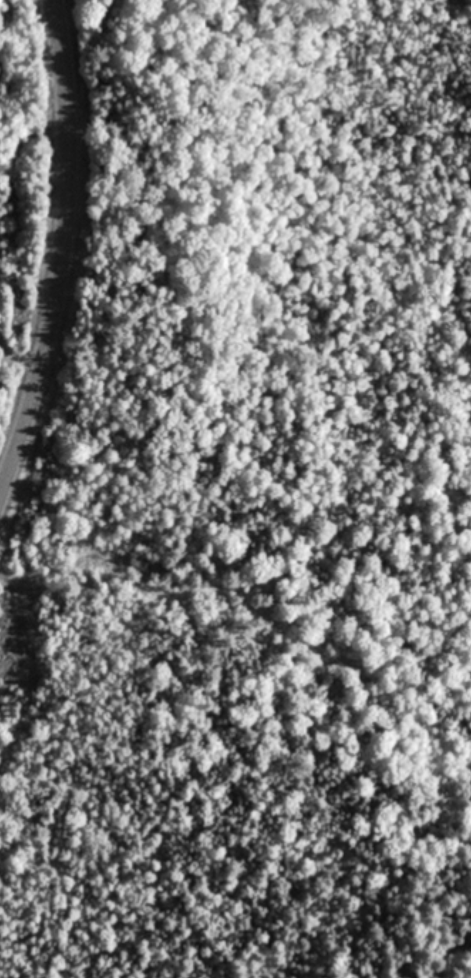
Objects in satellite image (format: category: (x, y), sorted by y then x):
road: (63, 251)
road: (20, 360)

